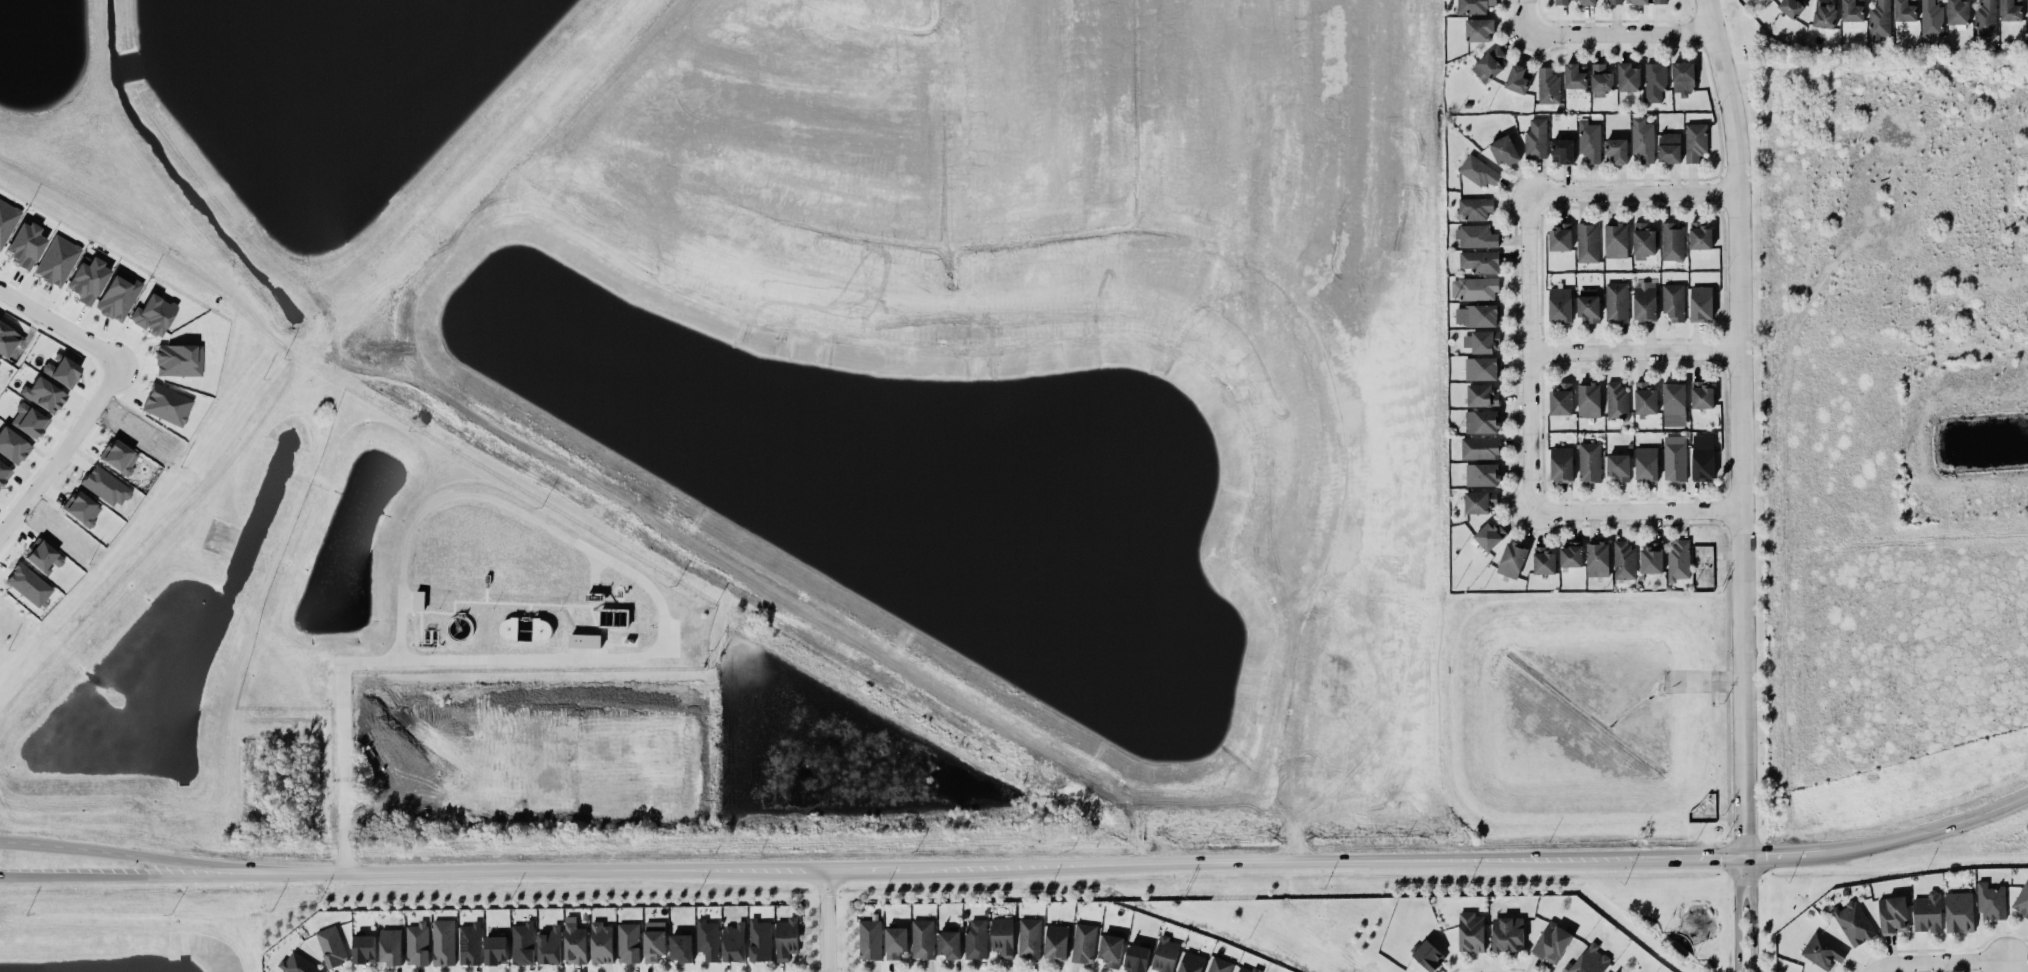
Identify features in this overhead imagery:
building: (1614, 1)
building: (1637, 1)
building: (1660, 1)
building: (1561, 2)
building: (1588, 2)
building: (1474, 6)
building: (1791, 7)
building: (1852, 11)
building: (1905, 11)
building: (2010, 11)
building: (1958, 12)
road: (1527, 13)
building: (1824, 13)
building: (2027, 16)
building: (1931, 18)
building: (1985, 18)
building: (1879, 20)
building: (1479, 29)
road: (1622, 32)
building: (1489, 64)
building: (1576, 76)
building: (1628, 77)
building: (1683, 77)
building: (1519, 79)
building: (1601, 80)
building: (1655, 81)
building: (1548, 86)
building: (1536, 139)
building: (1643, 139)
building: (1589, 141)
building: (1695, 142)
building: (1669, 147)
building: (1504, 150)
building: (1563, 151)
building: (1617, 151)
building: (1478, 171)
road: (1635, 192)
building: (1475, 208)
building: (6, 219)
building: (1700, 235)
building: (1476, 236)
building: (1560, 237)
building: (1616, 240)
building: (1643, 241)
building: (1672, 241)
building: (1587, 242)
building: (25, 244)
building: (57, 260)
building: (1479, 261)
building: (87, 279)
building: (1475, 288)
building: (118, 295)
building: (1644, 301)
building: (1673, 301)
building: (1616, 302)
building: (1701, 303)
building: (1560, 305)
building: (1588, 307)
building: (153, 313)
building: (1477, 315)
road: (60, 326)
building: (8, 340)
road: (1530, 348)
road: (1637, 350)
building: (178, 360)
building: (1482, 368)
building: (61, 370)
building: (43, 394)
building: (1482, 395)
building: (1702, 395)
building: (1645, 398)
building: (1561, 399)
building: (1589, 399)
building: (1617, 401)
building: (167, 404)
building: (1674, 404)
building: (1482, 421)
building: (31, 422)
road: (1743, 431)
crop: (1891, 434)
building: (12, 445)
building: (1480, 448)
road: (65, 452)
building: (119, 457)
building: (1703, 457)
building: (1675, 458)
building: (1589, 461)
building: (1561, 464)
building: (1646, 464)
building: (1619, 467)
building: (3, 472)
building: (1482, 474)
building: (106, 486)
building: (1480, 501)
building: (82, 509)
road: (1634, 511)
building: (1489, 535)
building: (1572, 555)
building: (44, 557)
building: (1652, 558)
building: (1512, 559)
building: (1598, 559)
building: (1624, 560)
building: (1679, 560)
building: (1544, 561)
building: (1702, 566)
building: (28, 584)
building: (418, 600)
building: (585, 640)
road: (636, 659)
road: (1193, 826)
road: (295, 831)
road: (206, 833)
road: (136, 835)
road: (52, 837)
road: (822, 842)
road: (1927, 844)
road: (861, 860)
road: (1280, 863)
road: (1782, 864)
road: (532, 867)
road: (1701, 867)
road: (224, 870)
road: (113, 873)
road: (10, 875)
building: (2022, 900)
building: (1991, 902)
building: (1959, 912)
building: (1927, 913)
building: (1893, 915)
road: (823, 916)
road: (1735, 918)
road: (1750, 918)
building: (1855, 922)
building: (1471, 932)
building: (1508, 934)
building: (1002, 936)
building: (787, 938)
building: (976, 938)
building: (1029, 938)
building: (707, 939)
building: (869, 939)
building: (922, 939)
building: (760, 940)
building: (654, 941)
building: (443, 942)
building: (628, 942)
building: (734, 942)
building: (896, 942)
building: (1056, 942)
building: (1552, 942)
building: (523, 943)
building: (602, 943)
building: (1084, 943)
building: (417, 944)
building: (470, 944)
building: (575, 944)
building: (950, 944)
building: (550, 945)
building: (391, 946)
building: (332, 947)
building: (682, 947)
building: (364, 948)
building: (1825, 949)
building: (496, 950)
building: (1111, 950)
building: (1165, 954)
building: (1429, 956)
building: (1136, 957)
building: (1589, 959)
building: (1191, 962)
road: (1933, 962)
building: (298, 964)
building: (1220, 965)
building: (1245, 969)
road: (1868, 971)

